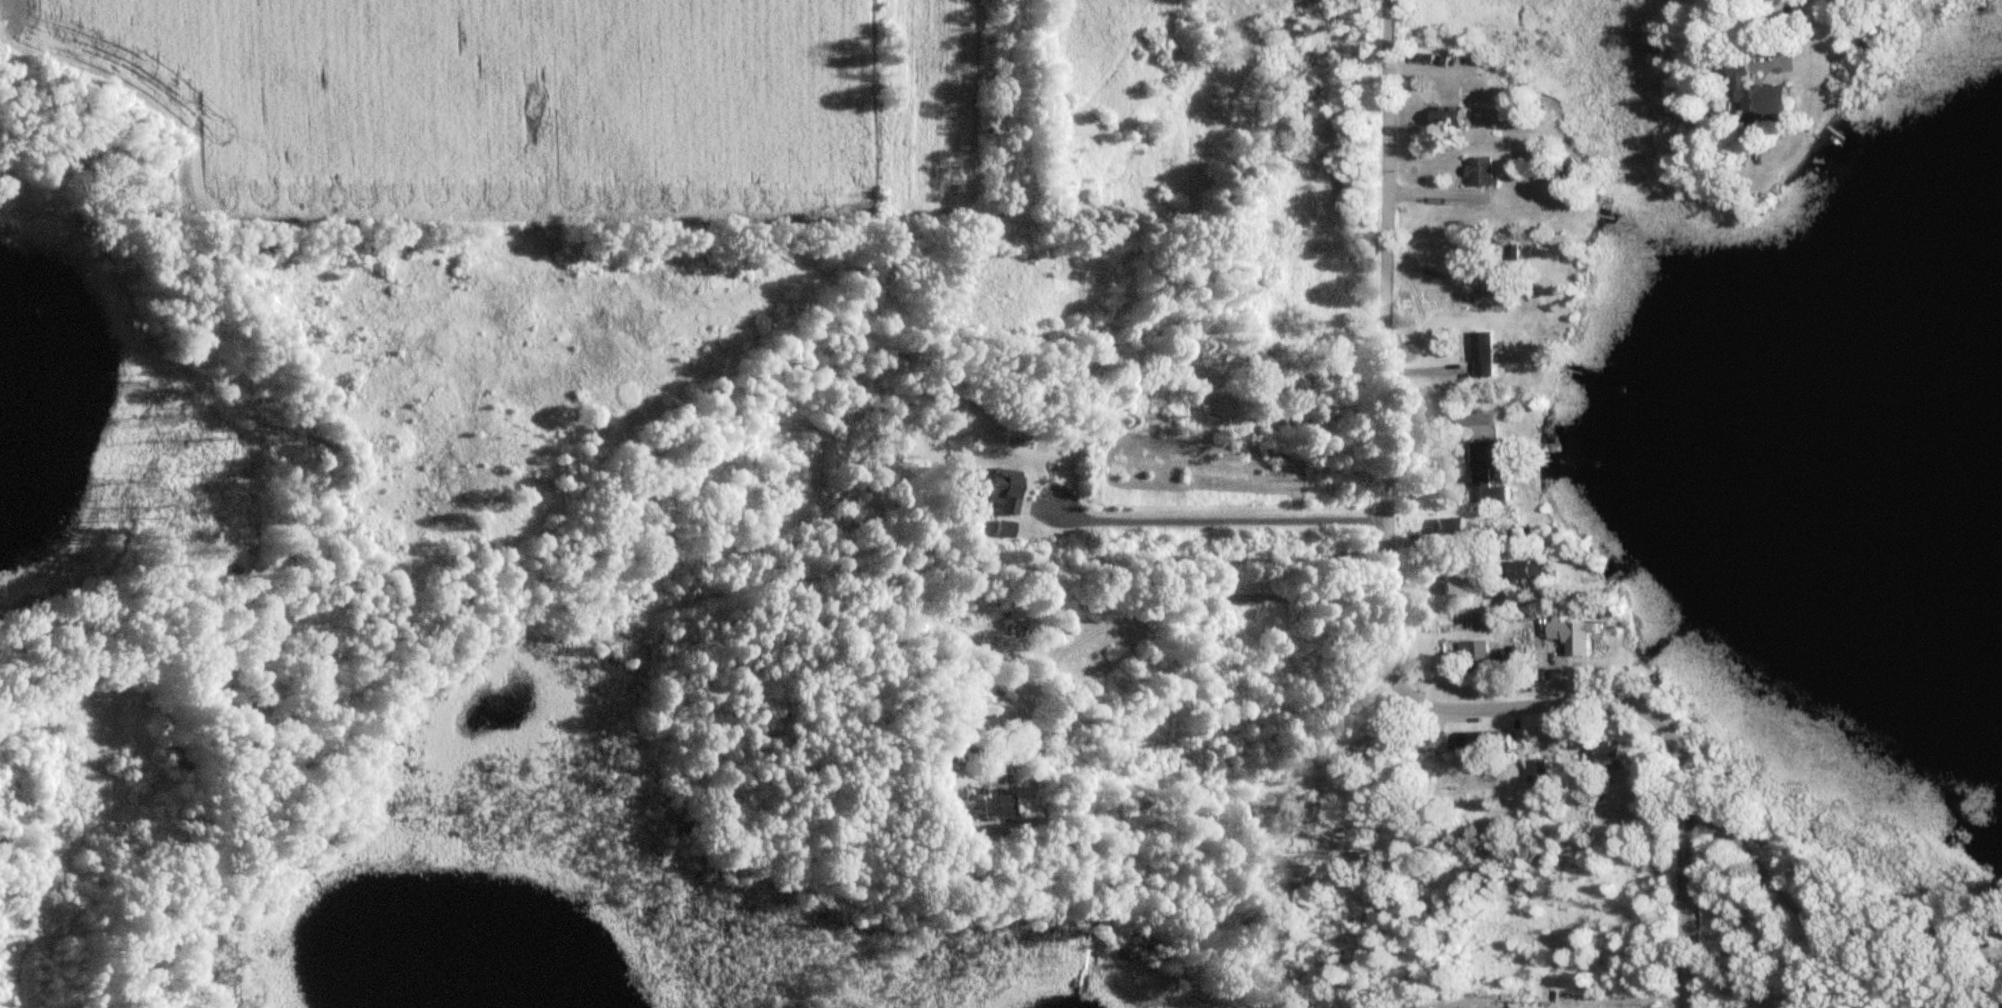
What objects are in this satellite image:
road: (1786, 16)
building: (1758, 99)
building: (1449, 119)
building: (1572, 167)
building: (1483, 173)
building: (1269, 338)
building: (1484, 355)
building: (1208, 401)
road: (1439, 420)
building: (1487, 473)
building: (1001, 491)
road: (1217, 522)
building: (1003, 530)
building: (1449, 531)
building: (1527, 571)
building: (1452, 589)
road: (552, 599)
road: (1151, 604)
road: (1386, 632)
building: (1568, 632)
building: (1513, 650)
building: (1479, 653)
building: (1436, 743)
building: (1485, 744)
building: (173, 758)
building: (1612, 760)
building: (1538, 772)
building: (987, 806)
road: (1823, 919)
road: (1634, 999)

